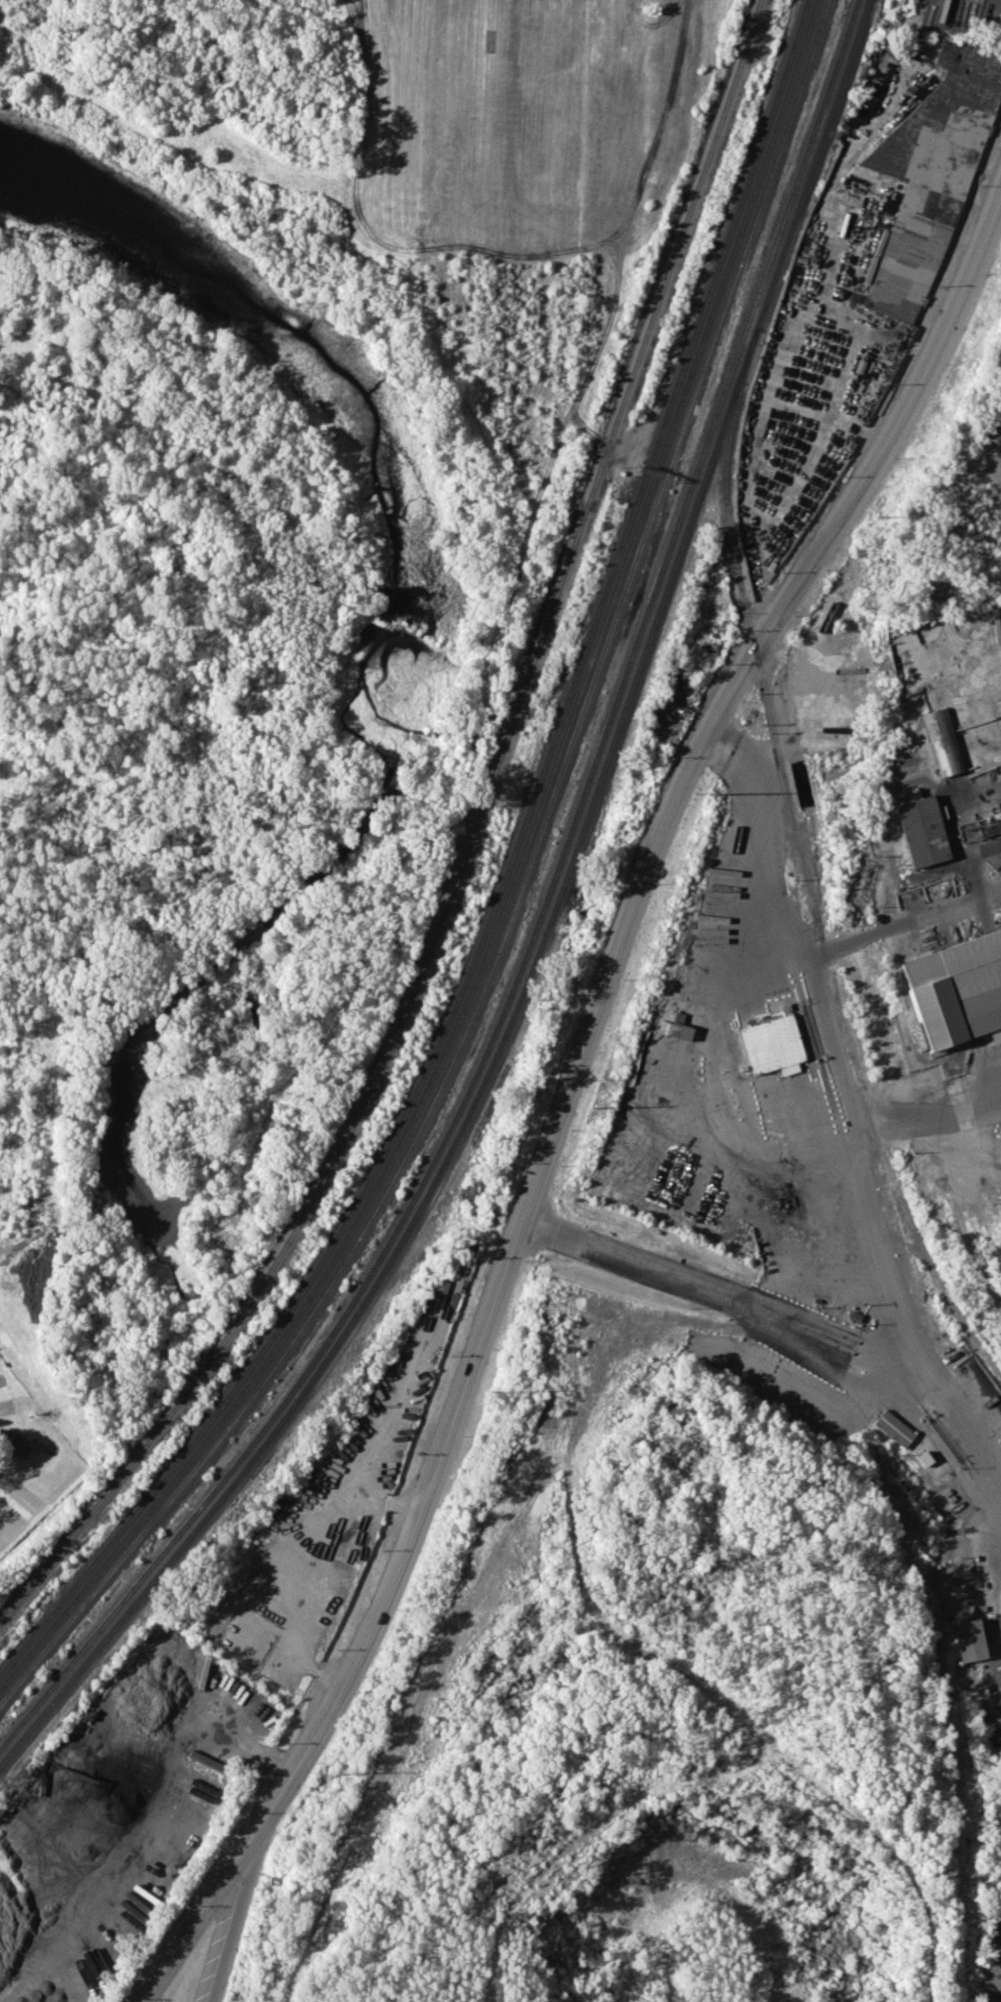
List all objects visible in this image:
building: (930, 169)
power tower: (878, 518)
building: (661, 729)
building: (942, 741)
power tower: (711, 794)
building: (922, 828)
railway: (465, 854)
railway: (807, 870)
railway: (811, 870)
railway: (501, 888)
railway: (508, 896)
railway: (515, 905)
road: (904, 924)
railway: (535, 929)
railway: (543, 938)
building: (958, 988)
building: (771, 1045)
road: (834, 1053)
road: (732, 1071)
road: (564, 1095)
power tower: (593, 1107)
road: (40, 1229)
road: (882, 1260)
road: (790, 1326)
power tower: (496, 1392)
building: (894, 1427)
building: (13, 1443)
road: (301, 1556)
building: (969, 1639)
building: (994, 1684)
building: (998, 1754)
power tower: (334, 1768)
road: (119, 1812)
road: (232, 1914)

